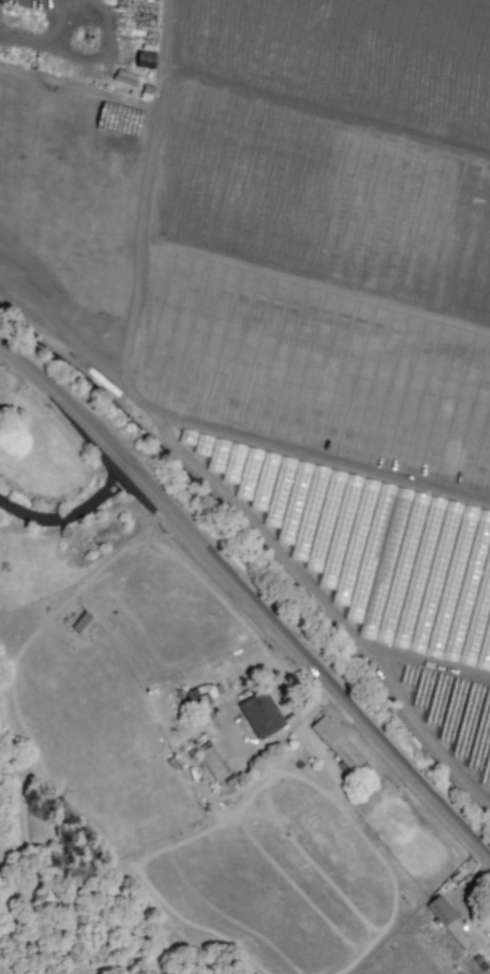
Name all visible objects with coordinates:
road: (162, 53)
road: (244, 131)
crop: (285, 287)
road: (68, 519)
road: (245, 601)
building: (83, 624)
building: (205, 692)
building: (261, 714)
building: (337, 743)
building: (212, 762)
road: (459, 898)
building: (489, 917)
building: (448, 920)

